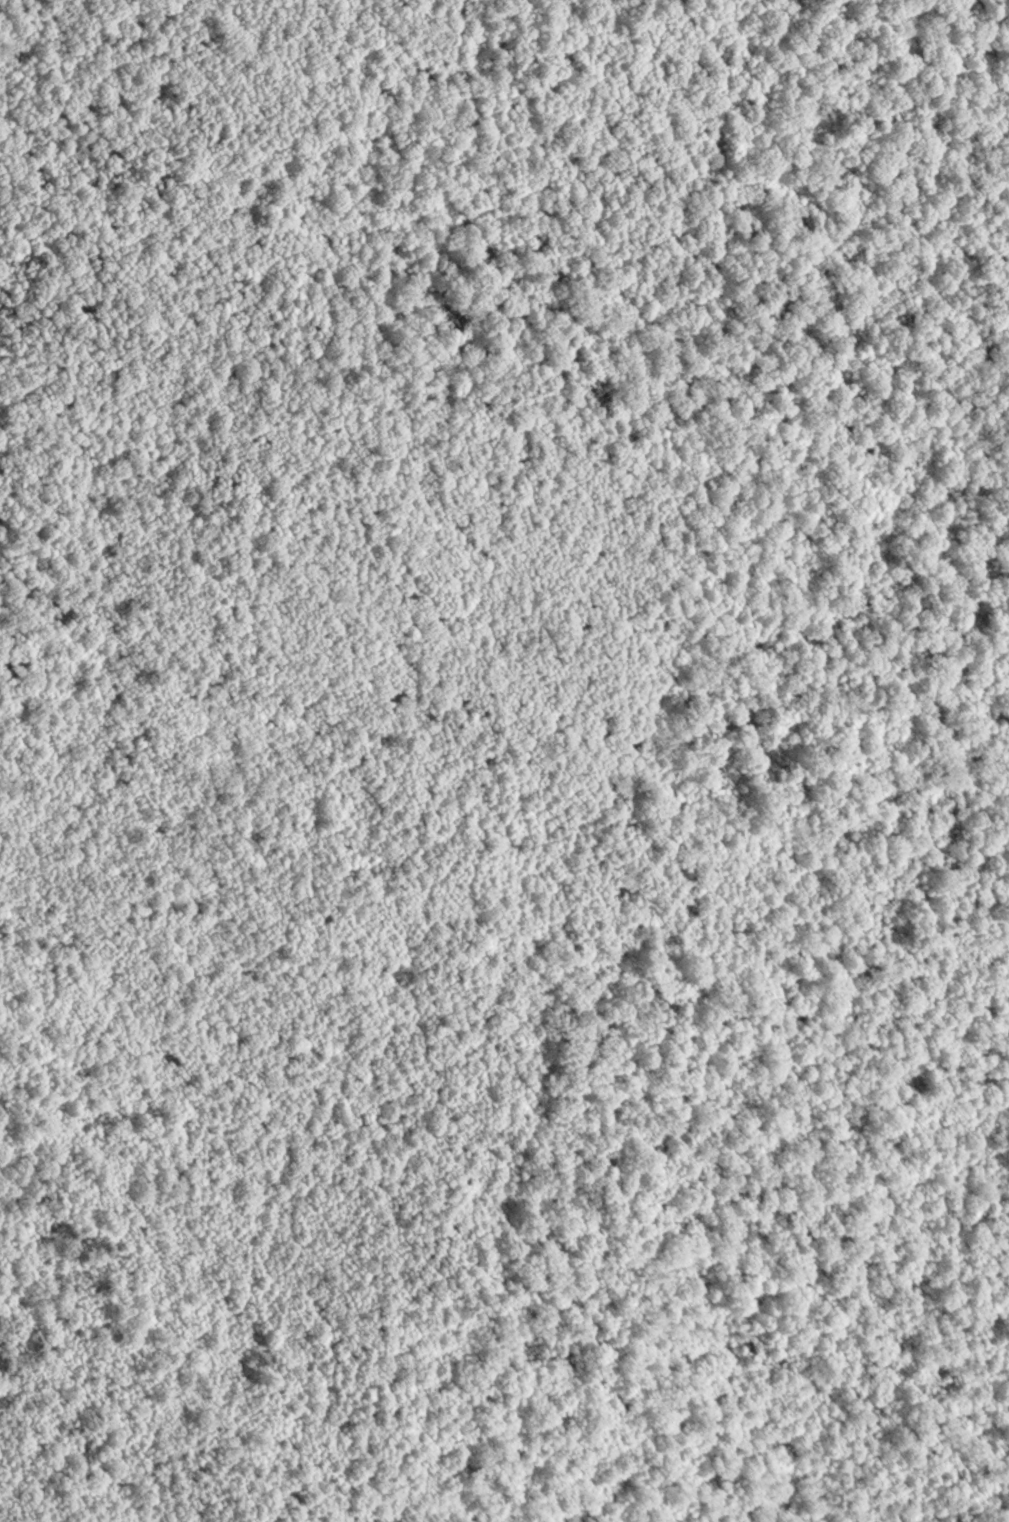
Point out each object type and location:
road: (6, 19)

